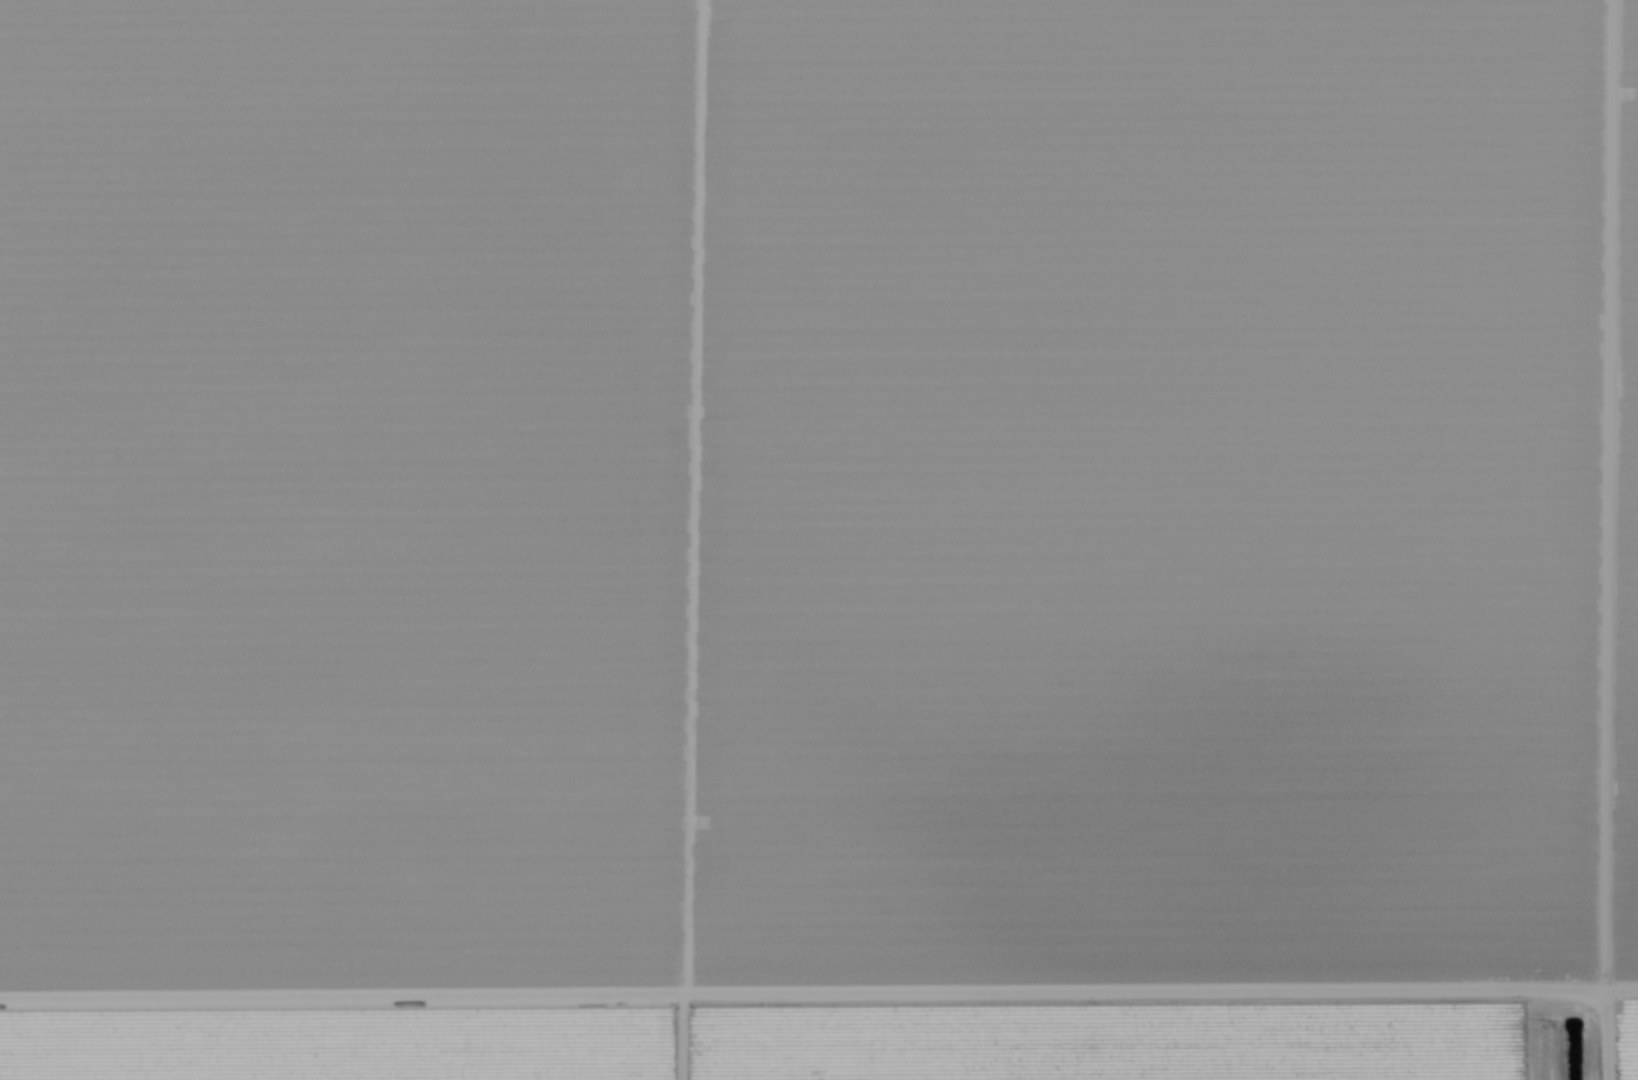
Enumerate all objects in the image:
crop: (818, 508)
crop: (805, 1048)
crop: (1628, 1049)

